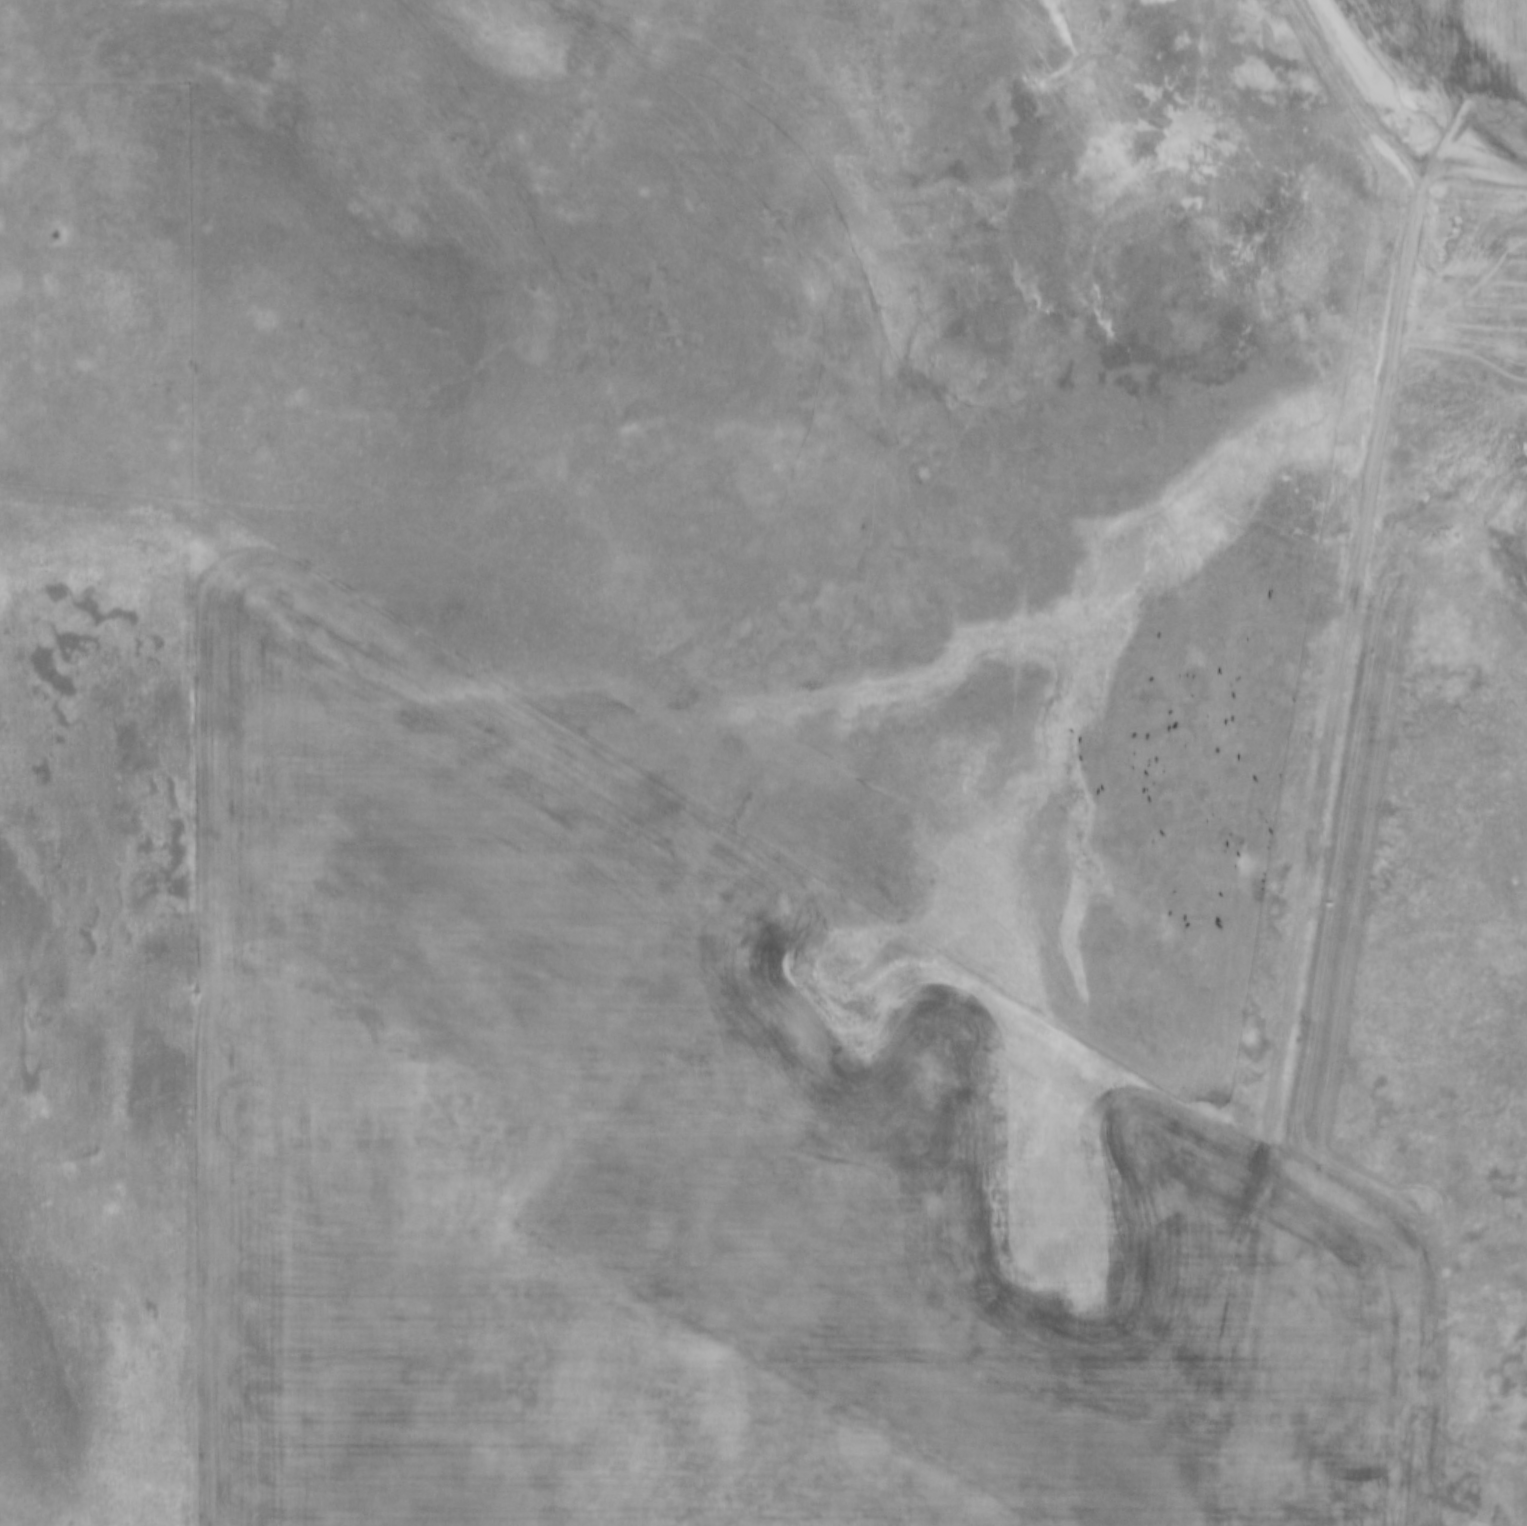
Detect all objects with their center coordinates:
road: (1319, 798)

